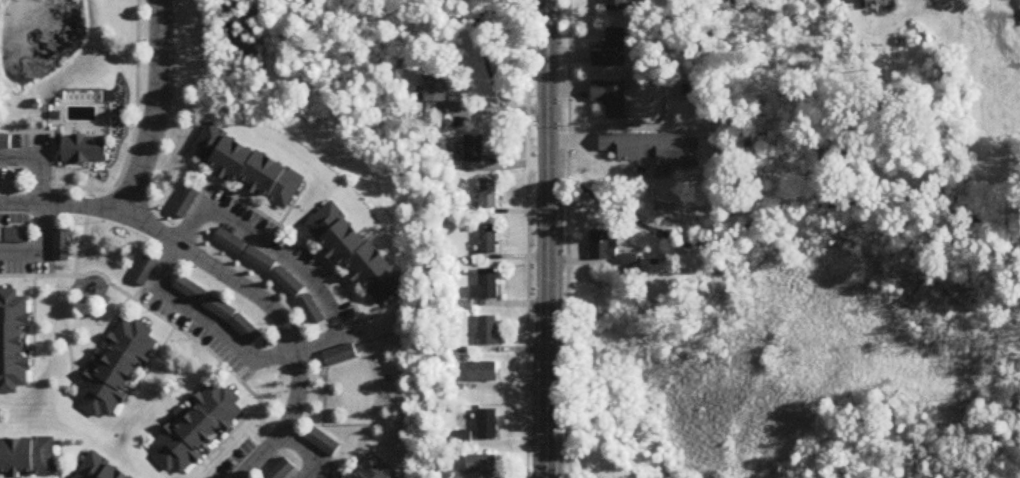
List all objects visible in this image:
building: (860, 0)
building: (617, 5)
fountain: (31, 40)
building: (611, 51)
building: (436, 88)
building: (611, 98)
road: (157, 109)
road: (612, 127)
building: (654, 149)
building: (84, 150)
building: (474, 150)
building: (248, 166)
road: (617, 167)
building: (488, 194)
road: (43, 201)
building: (0, 236)
building: (17, 236)
road: (547, 238)
road: (566, 238)
building: (487, 239)
road: (526, 239)
building: (61, 245)
building: (604, 246)
building: (357, 255)
road: (289, 257)
building: (144, 270)
road: (229, 278)
building: (486, 286)
building: (189, 290)
road: (205, 319)
building: (233, 320)
building: (488, 331)
building: (13, 342)
park: (794, 355)
building: (339, 357)
building: (115, 371)
building: (481, 373)
building: (487, 426)
building: (197, 429)
building: (323, 443)
road: (309, 450)
building: (27, 458)
building: (481, 466)
building: (101, 469)
building: (281, 470)
building: (373, 470)

